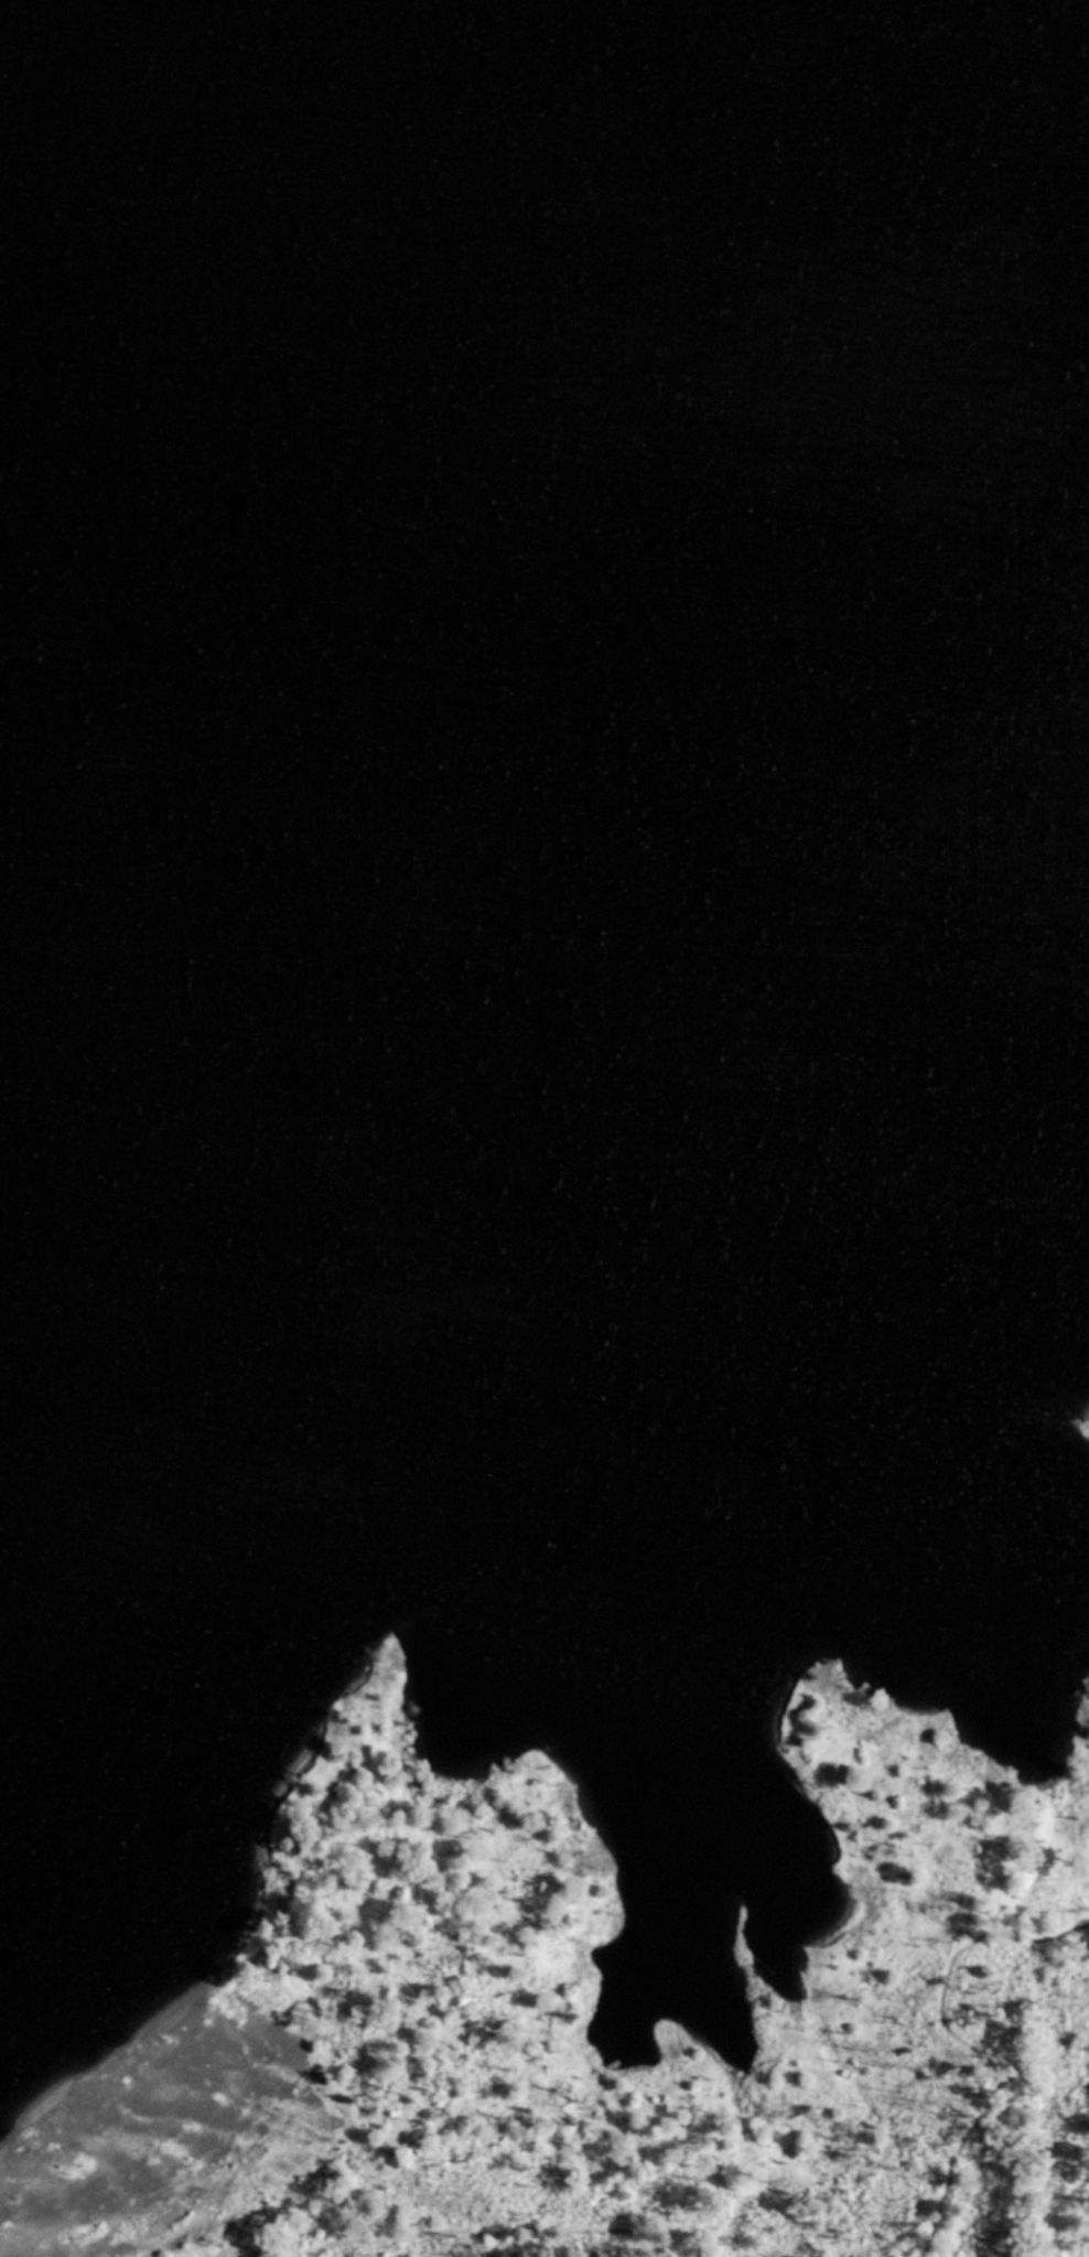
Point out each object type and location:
river: (522, 377)
road: (968, 2046)
road: (463, 2227)

